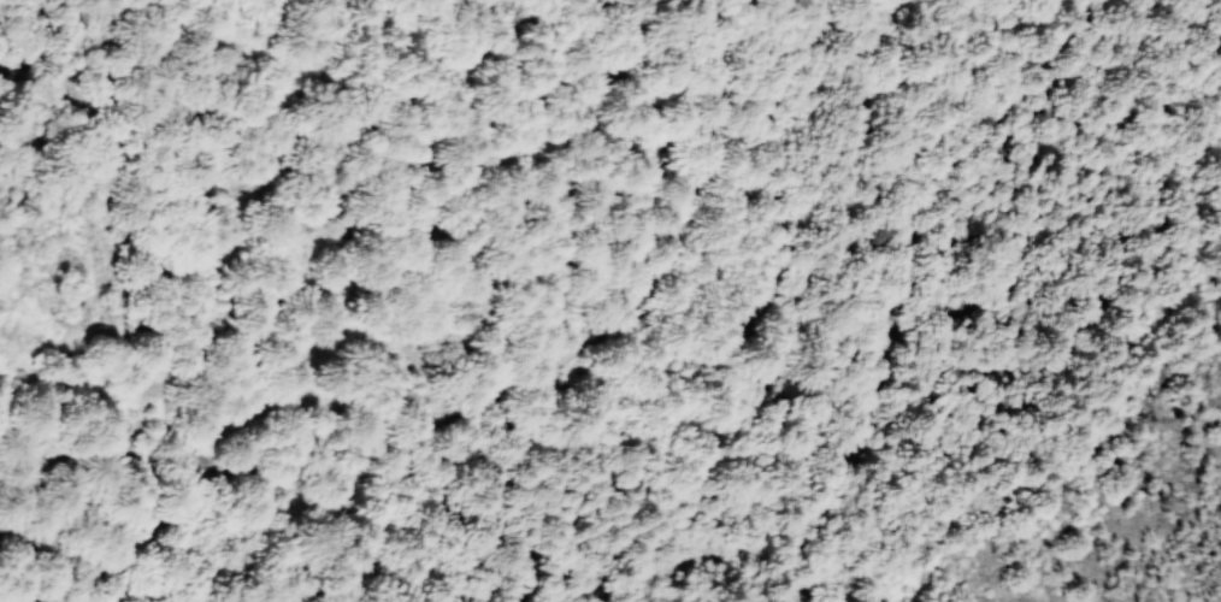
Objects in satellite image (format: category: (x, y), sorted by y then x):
road: (454, 214)
road: (877, 388)
road: (494, 421)
road: (49, 553)

